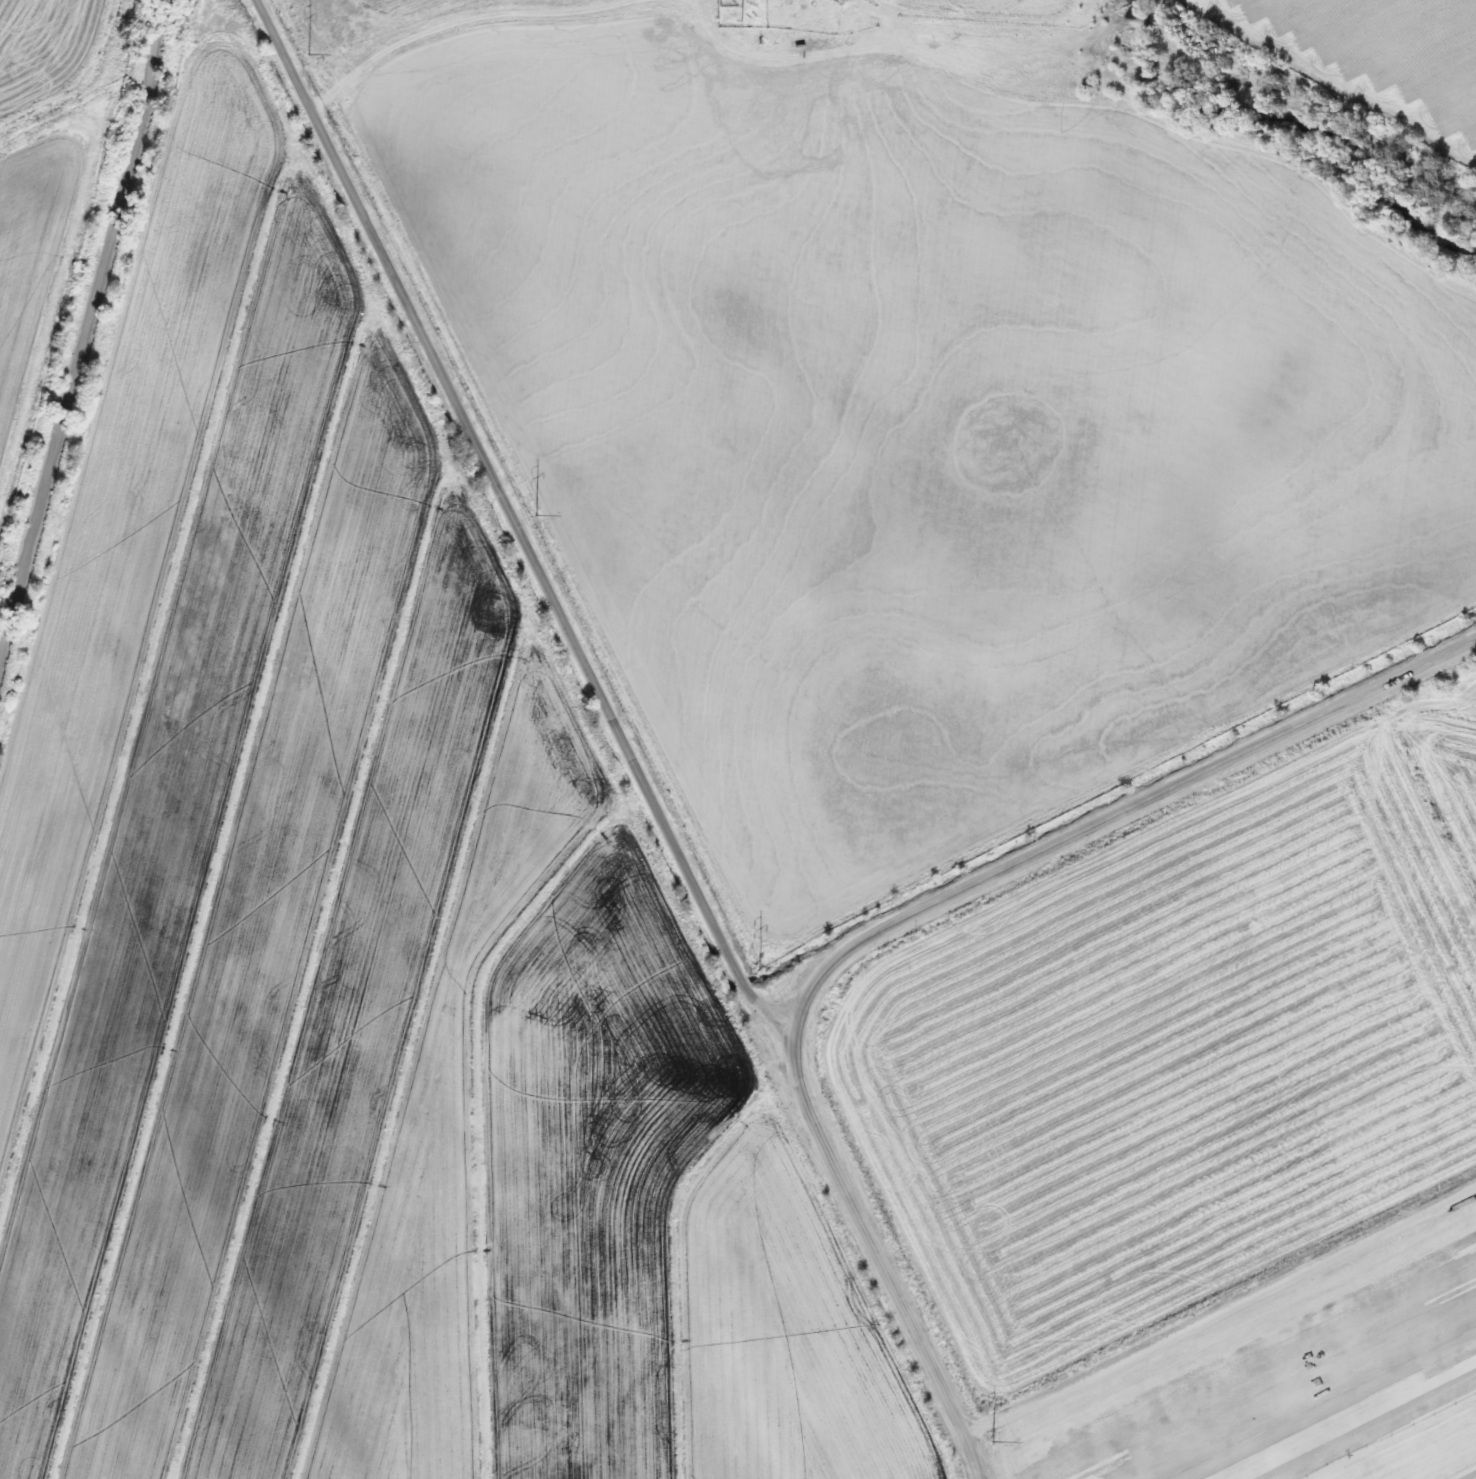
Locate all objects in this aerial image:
road: (707, 15)
road: (457, 22)
road: (285, 54)
power tower: (301, 54)
power tower: (529, 513)
road: (540, 575)
road: (894, 921)
power tower: (750, 964)
road: (1218, 1310)
power tower: (985, 1442)

